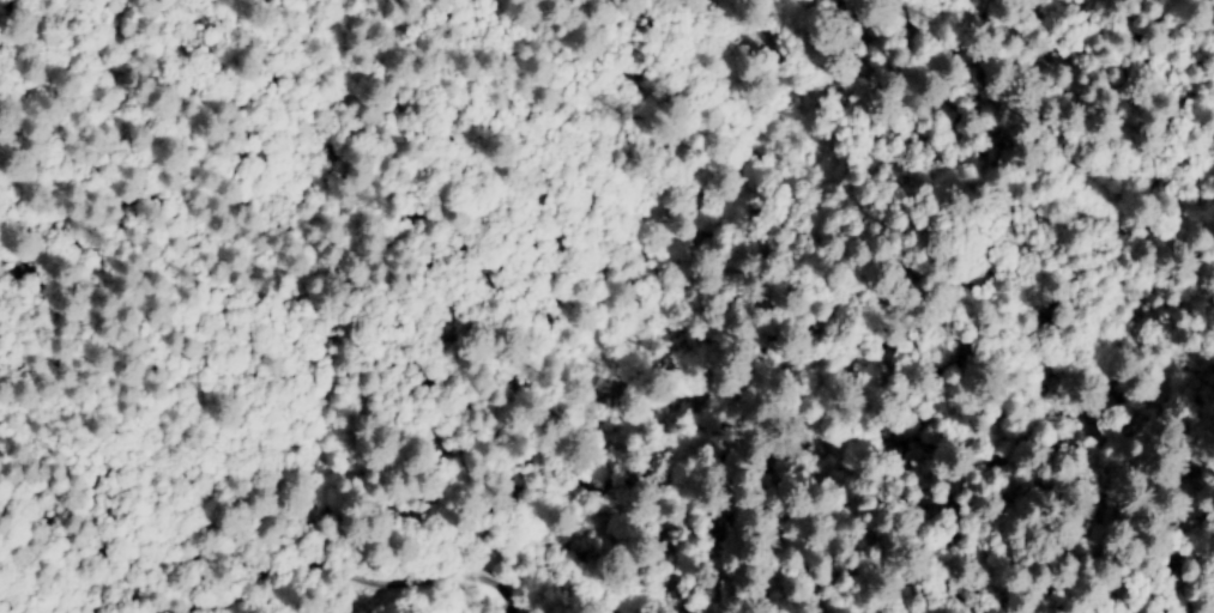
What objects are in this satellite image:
road: (318, 587)
road: (479, 608)

